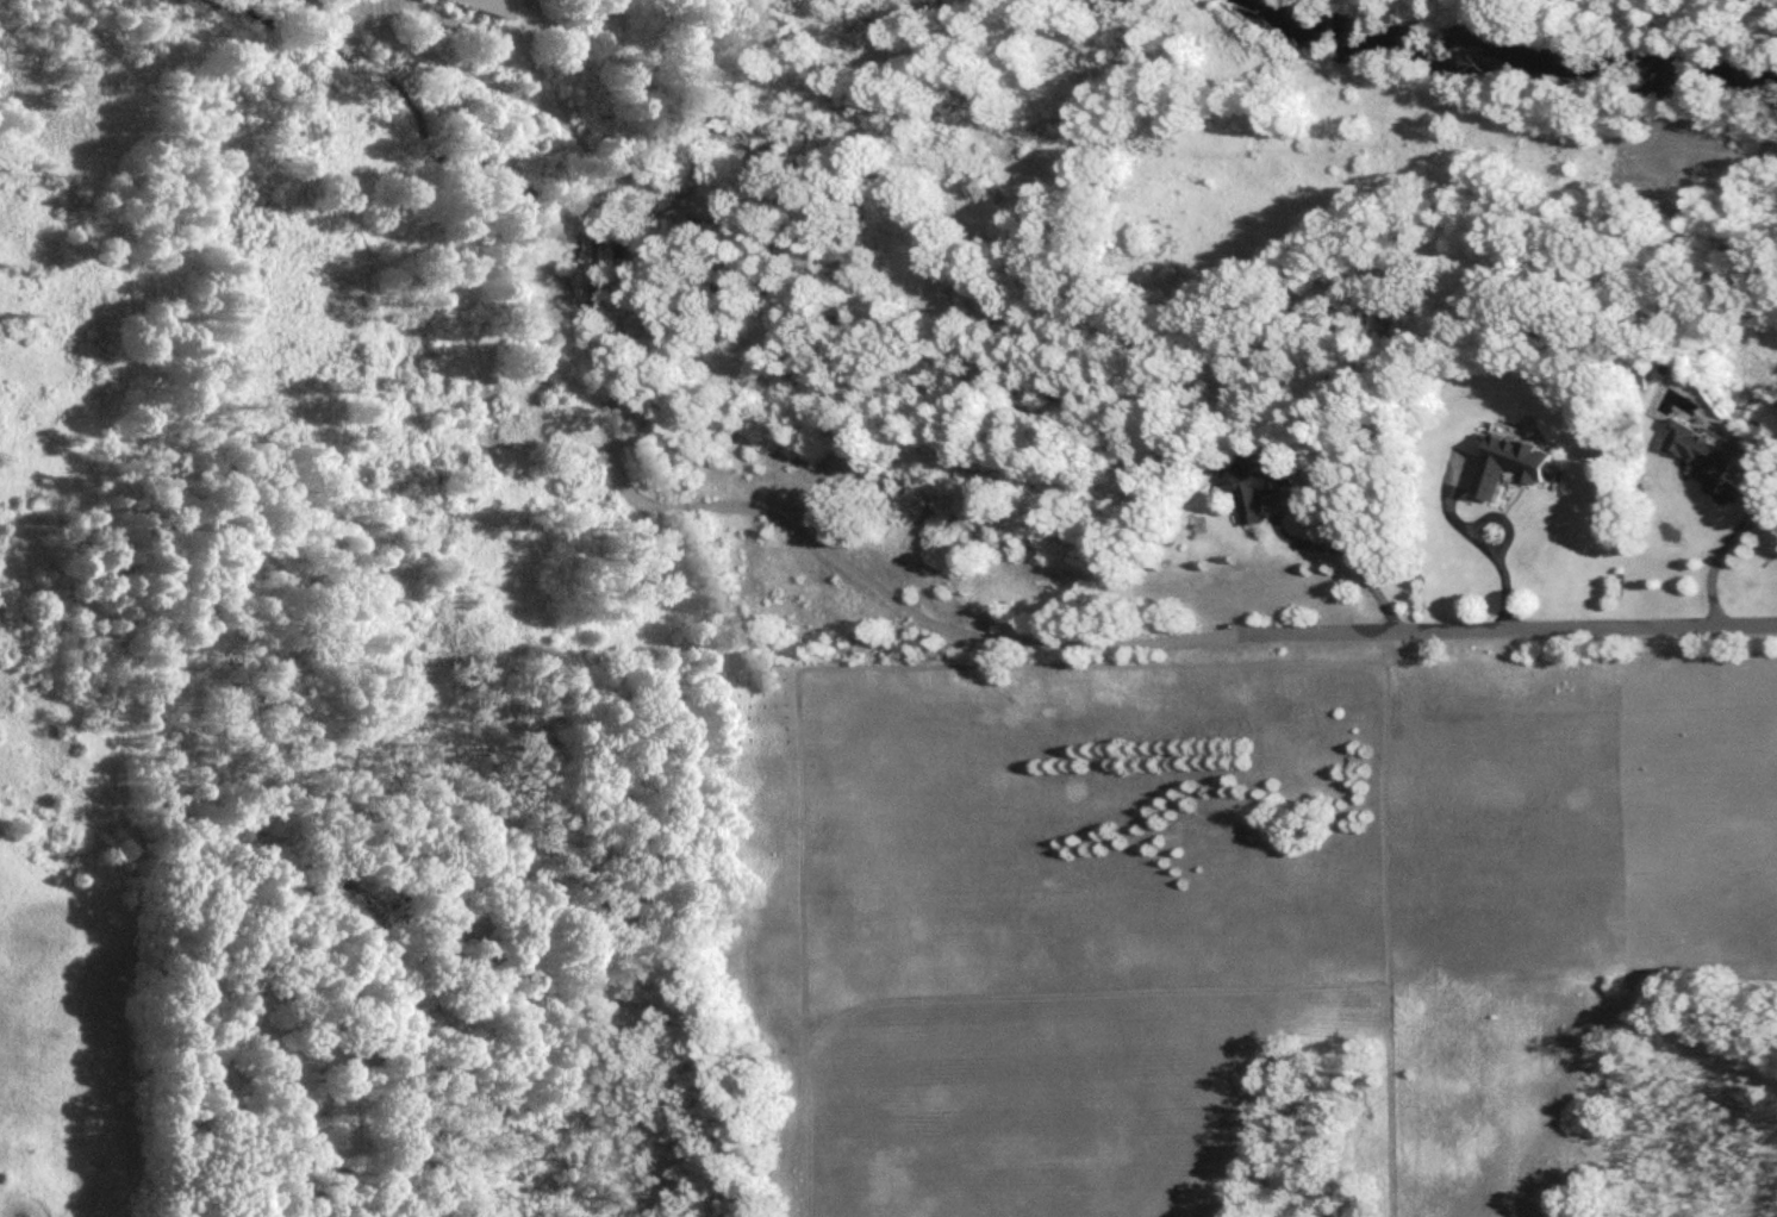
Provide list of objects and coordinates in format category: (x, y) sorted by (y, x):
building: (480, 7)
road: (375, 20)
road: (345, 21)
river: (1529, 55)
building: (1706, 454)
building: (1516, 466)
building: (1264, 483)
road: (1486, 547)
road: (1726, 548)
road: (1345, 553)
road: (898, 605)
road: (20, 1204)

